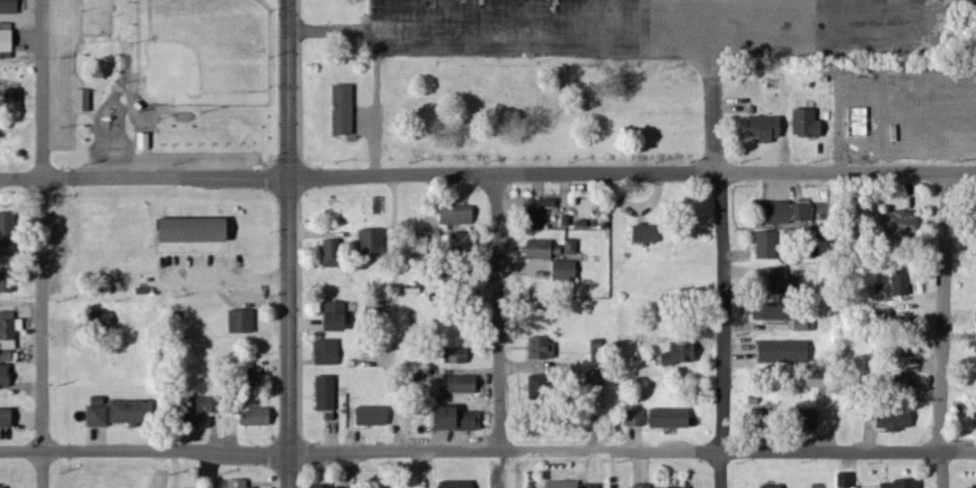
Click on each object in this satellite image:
building: (10, 6)
road: (569, 26)
building: (7, 41)
park: (201, 52)
road: (21, 61)
park: (163, 85)
building: (16, 99)
building: (84, 100)
road: (377, 100)
building: (345, 110)
building: (809, 123)
building: (767, 129)
road: (487, 174)
building: (536, 213)
building: (790, 213)
building: (460, 216)
building: (903, 223)
building: (199, 230)
building: (8, 232)
building: (647, 234)
building: (374, 242)
road: (42, 244)
road: (288, 244)
building: (769, 245)
building: (550, 249)
building: (335, 253)
building: (566, 271)
building: (785, 280)
building: (8, 281)
building: (896, 286)
road: (21, 305)
building: (376, 305)
building: (774, 312)
road: (942, 312)
road: (396, 313)
building: (338, 317)
building: (244, 321)
building: (806, 325)
building: (10, 330)
road: (721, 330)
road: (498, 331)
building: (544, 348)
building: (329, 352)
building: (688, 352)
building: (786, 352)
building: (462, 356)
building: (600, 359)
building: (6, 376)
building: (904, 381)
building: (459, 387)
building: (542, 388)
building: (328, 394)
building: (204, 408)
building: (132, 412)
building: (975, 414)
building: (100, 416)
building: (374, 416)
building: (258, 417)
building: (8, 418)
building: (637, 418)
building: (672, 418)
building: (457, 419)
building: (896, 420)
road: (470, 451)
road: (942, 452)
road: (960, 452)
road: (175, 469)
road: (944, 470)
building: (846, 480)
building: (240, 484)
building: (564, 484)
building: (903, 484)
building: (458, 485)
building: (324, 486)
building: (593, 486)
building: (643, 486)
building: (775, 486)
building: (4, 487)
building: (348, 487)
building: (692, 487)

